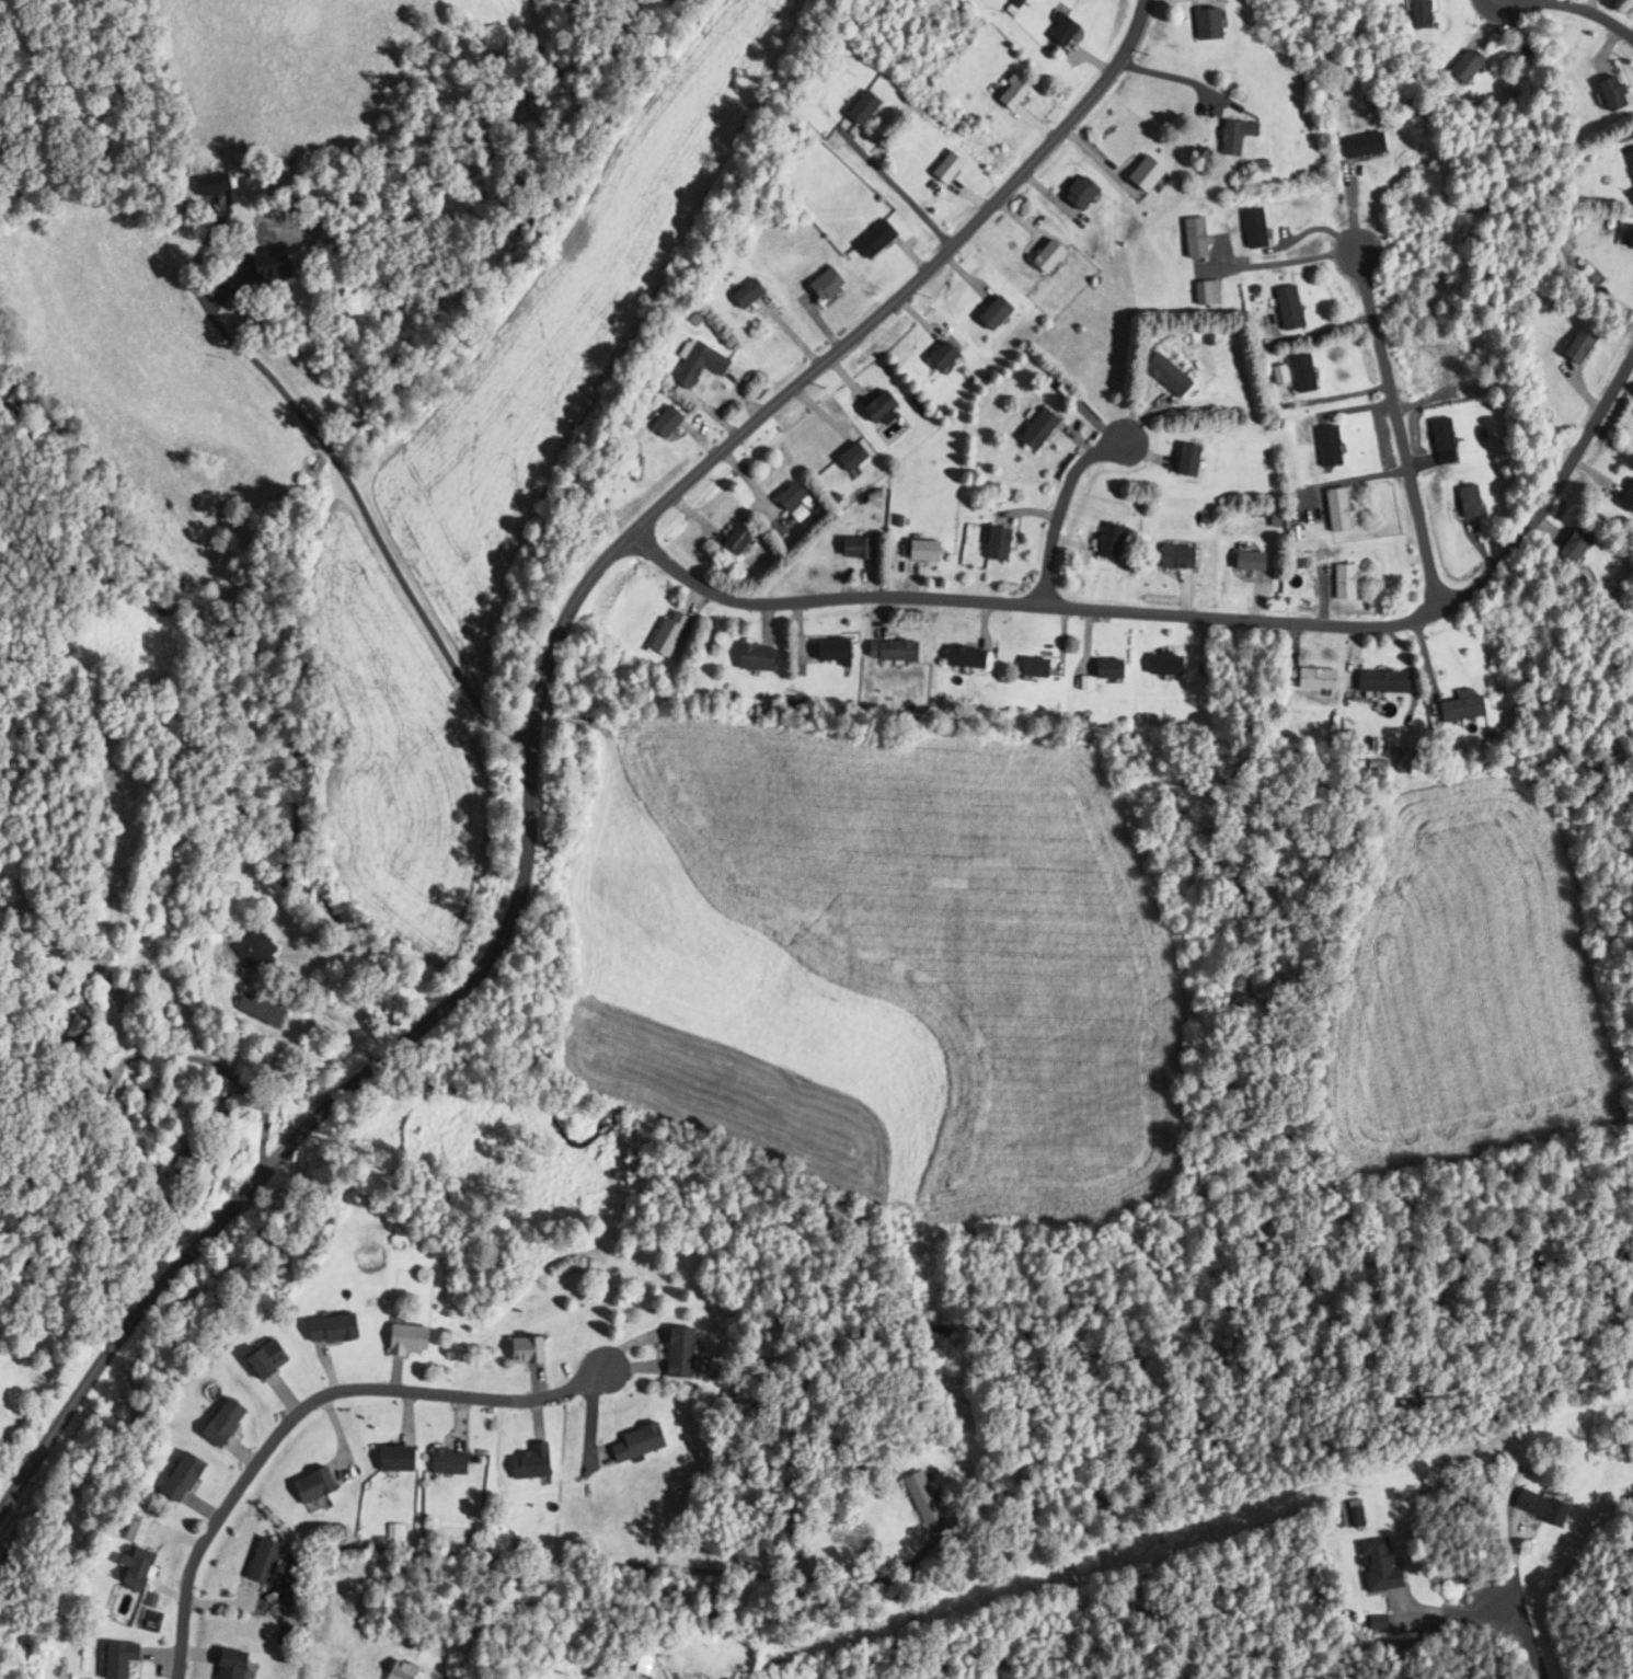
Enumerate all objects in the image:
road: (1595, 10)
building: (1411, 15)
building: (1199, 26)
building: (1055, 32)
building: (1458, 68)
building: (1004, 95)
building: (1598, 95)
building: (852, 110)
building: (1222, 138)
building: (1356, 147)
building: (938, 170)
building: (1628, 170)
building: (1135, 176)
building: (200, 187)
building: (1073, 195)
building: (1243, 231)
building: (1184, 240)
building: (1624, 241)
building: (867, 242)
building: (1039, 258)
building: (256, 271)
building: (817, 287)
building: (1198, 295)
building: (740, 296)
building: (1279, 310)
building: (986, 315)
building: (1566, 345)
building: (933, 359)
building: (691, 367)
building: (1296, 375)
building: (1158, 377)
building: (873, 409)
building: (656, 425)
building: (1027, 432)
road: (1403, 432)
building: (1435, 434)
building: (1322, 446)
building: (847, 458)
building: (1177, 463)
building: (1622, 496)
building: (783, 497)
building: (1462, 502)
road: (1061, 506)
building: (1330, 509)
road: (369, 514)
building: (727, 540)
building: (1102, 541)
building: (987, 542)
building: (1563, 545)
building: (847, 549)
building: (909, 550)
building: (1170, 556)
building: (1241, 561)
building: (1335, 582)
road: (1186, 612)
building: (658, 633)
building: (1631, 640)
building: (820, 649)
building: (881, 651)
building: (743, 657)
building: (953, 657)
building: (1157, 664)
building: (1024, 667)
building: (1100, 669)
building: (1307, 679)
building: (1371, 681)
building: (1449, 709)
road: (529, 735)
building: (257, 946)
building: (117, 993)
building: (266, 1009)
building: (84, 1028)
road: (219, 1068)
building: (416, 1129)
building: (194, 1157)
building: (343, 1329)
building: (416, 1339)
building: (538, 1350)
building: (694, 1353)
building: (281, 1360)
road: (306, 1404)
building: (235, 1422)
building: (646, 1442)
building: (405, 1459)
building: (458, 1462)
building: (539, 1462)
building: (194, 1477)
building: (321, 1486)
building: (912, 1497)
building: (1532, 1508)
building: (149, 1531)
building: (272, 1562)
building: (1367, 1566)
building: (150, 1568)
road: (1519, 1626)
building: (134, 1659)
building: (651, 1660)
building: (241, 1665)
building: (411, 1670)

